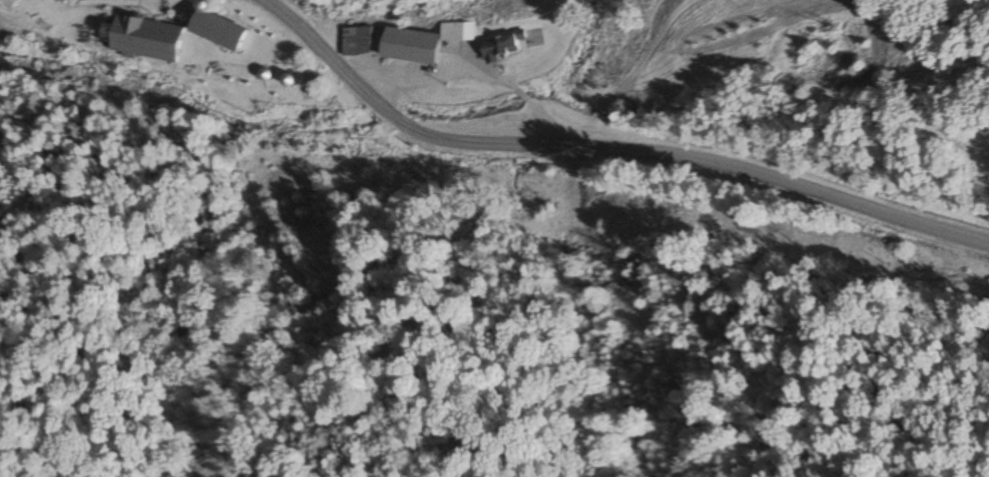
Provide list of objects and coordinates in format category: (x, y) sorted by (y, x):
building: (457, 32)
building: (144, 38)
building: (356, 41)
building: (502, 47)
road: (607, 147)

